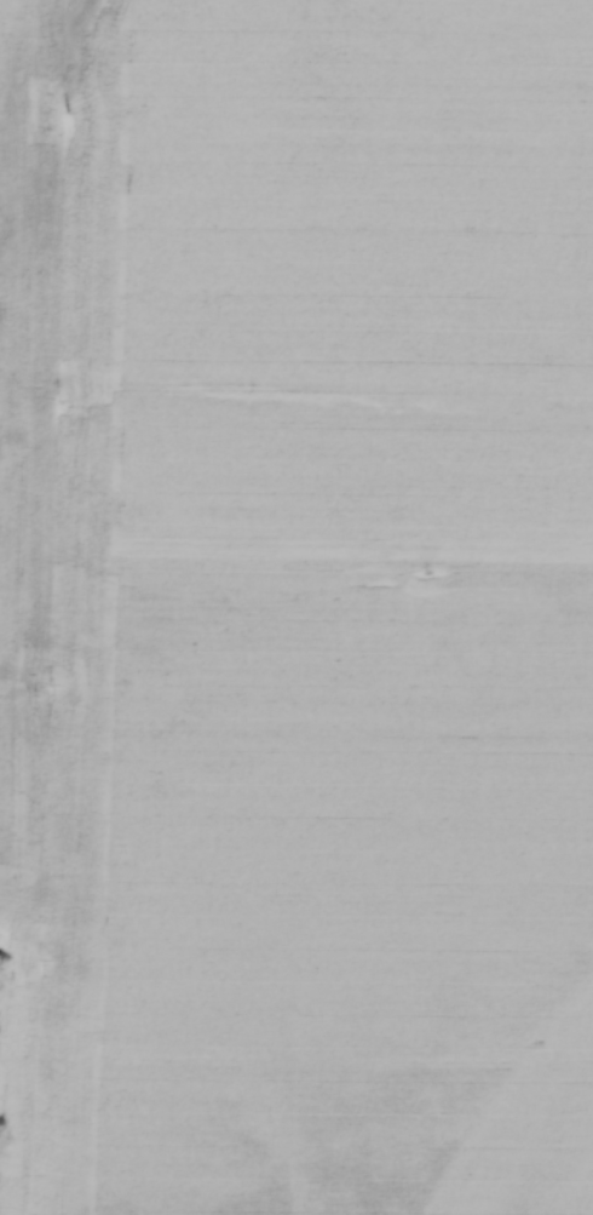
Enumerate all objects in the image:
crop: (296, 607)

